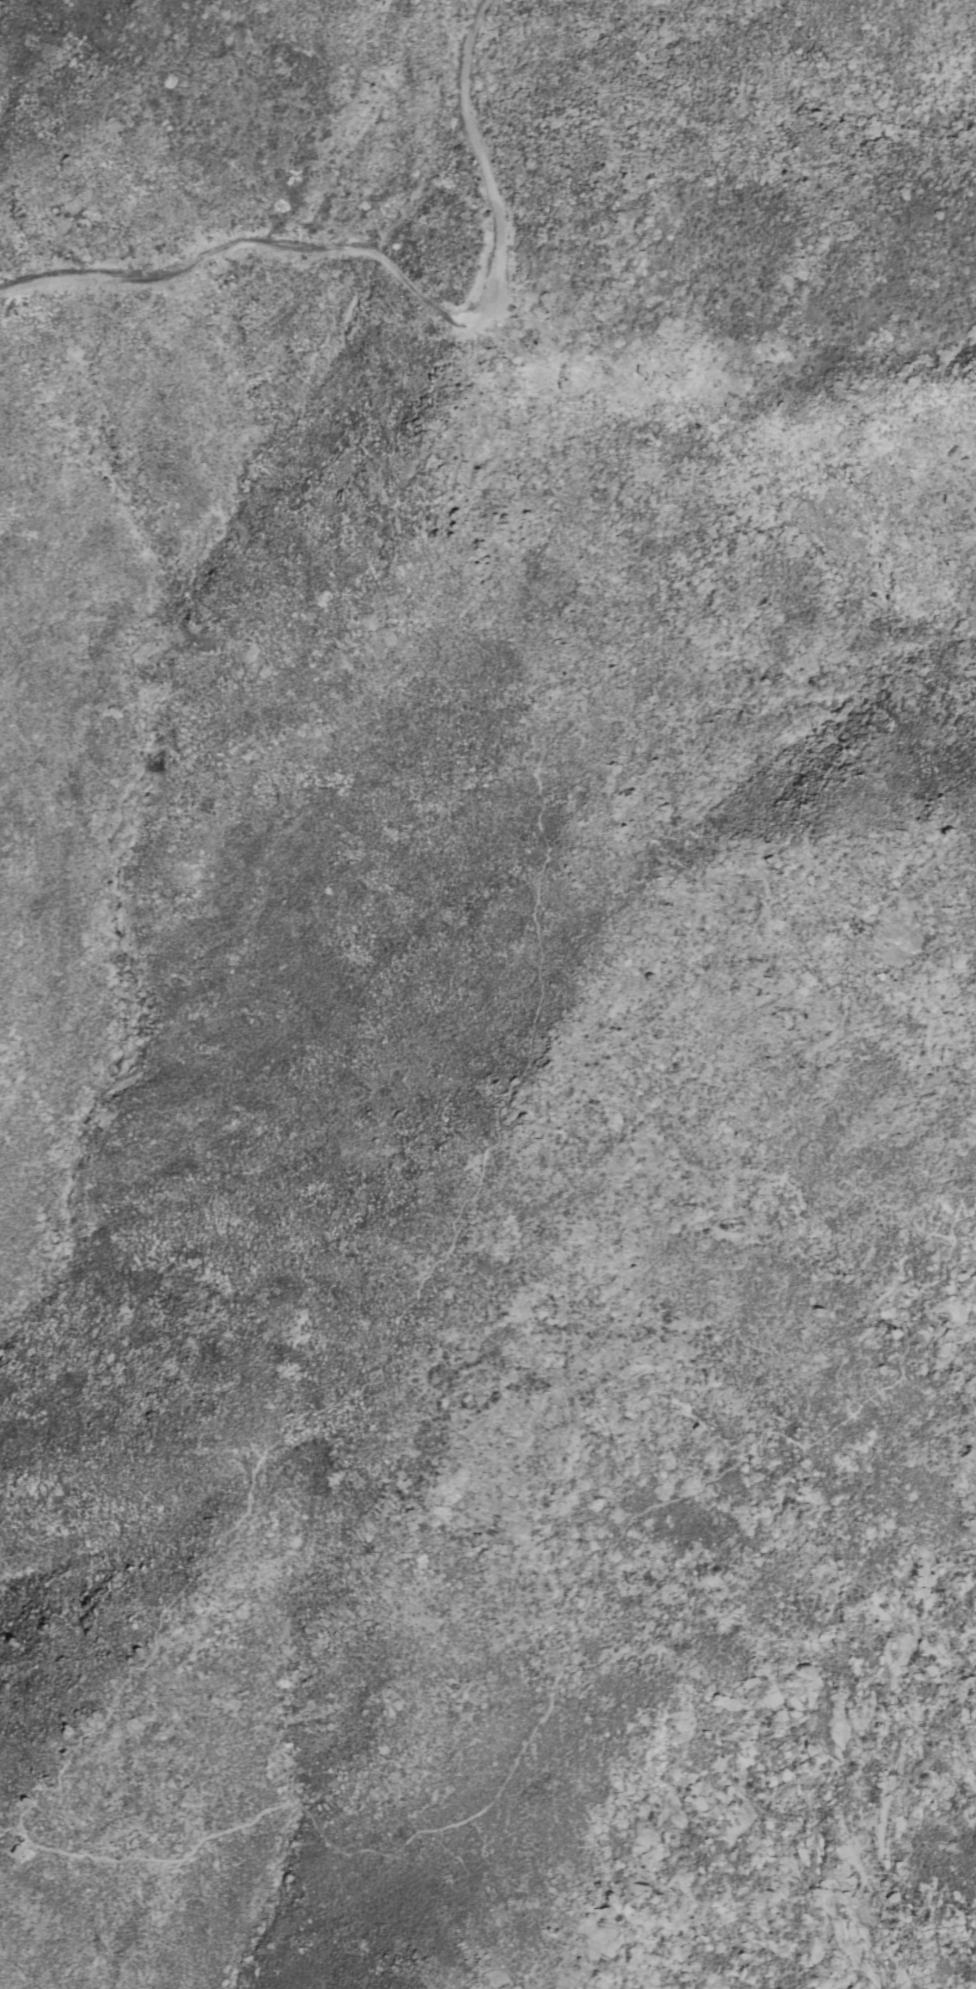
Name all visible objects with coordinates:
road: (411, 284)

